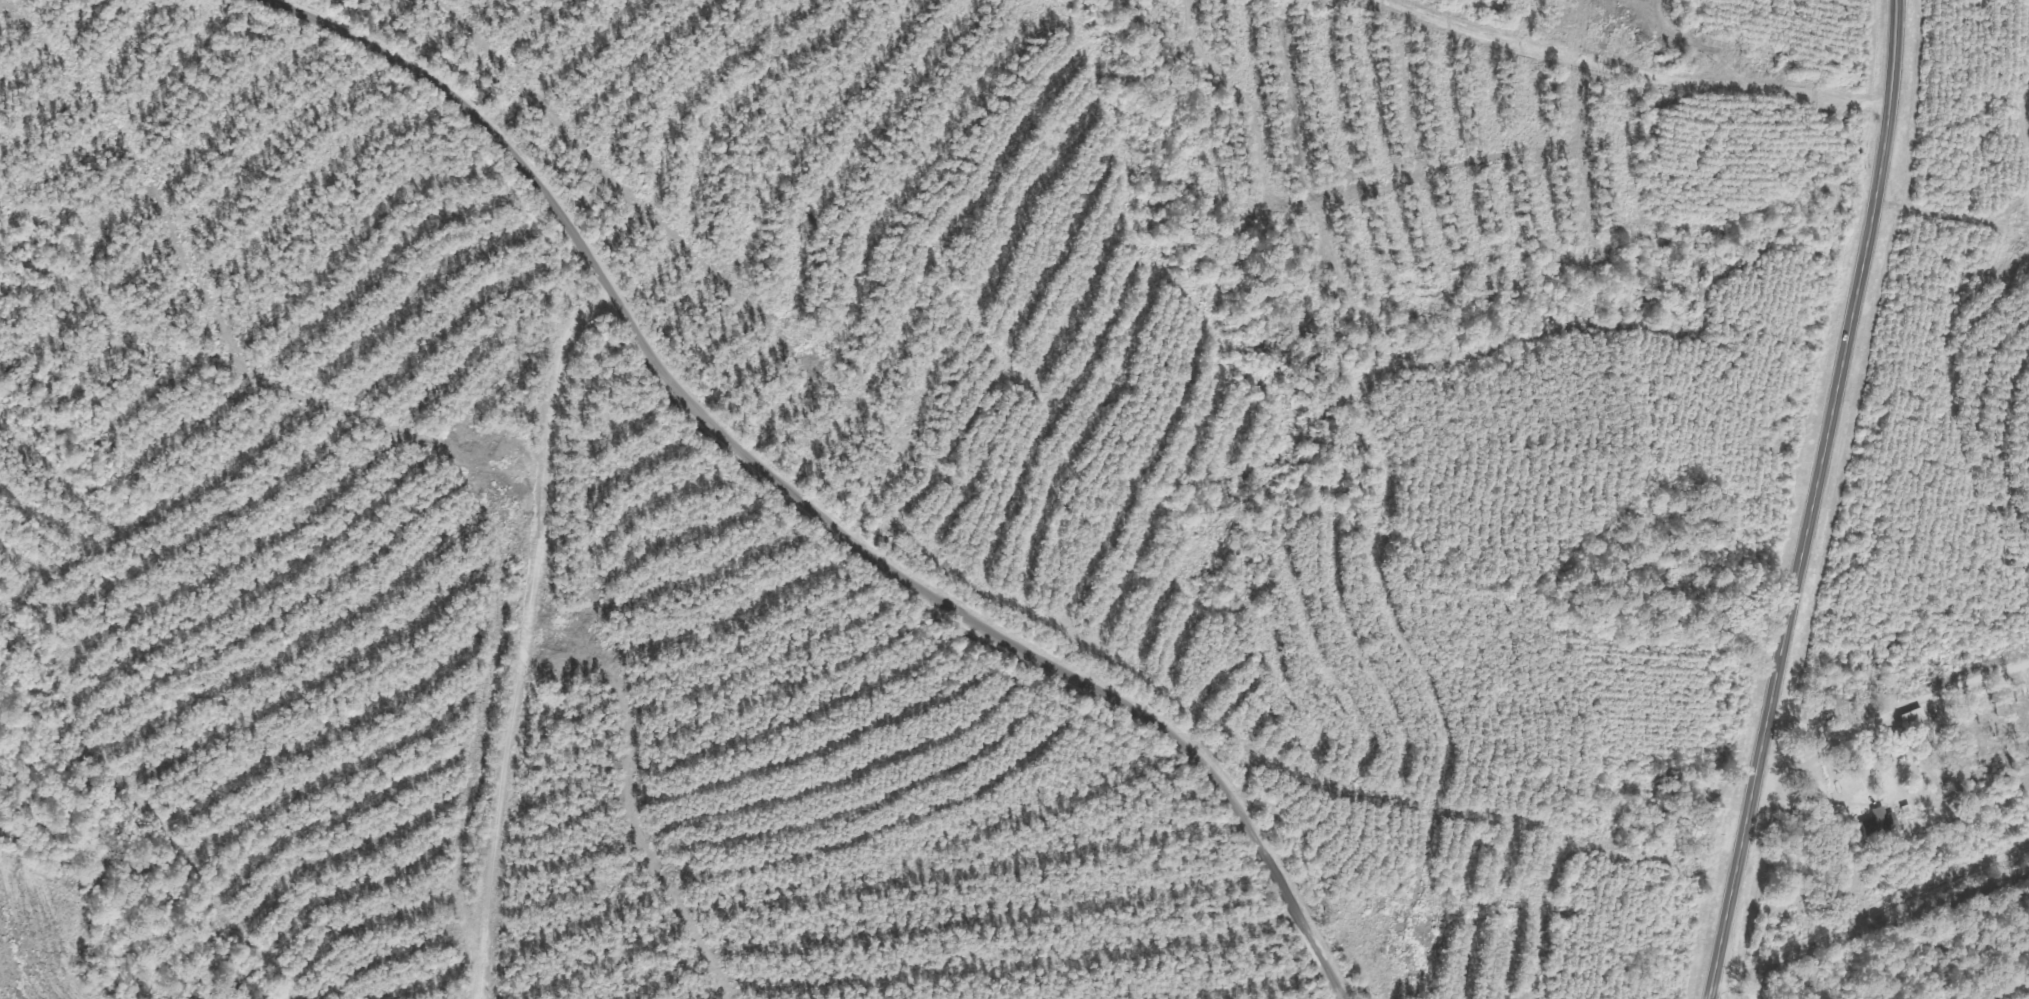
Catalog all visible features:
road: (1634, 69)
road: (1808, 500)
road: (805, 505)
road: (517, 635)

